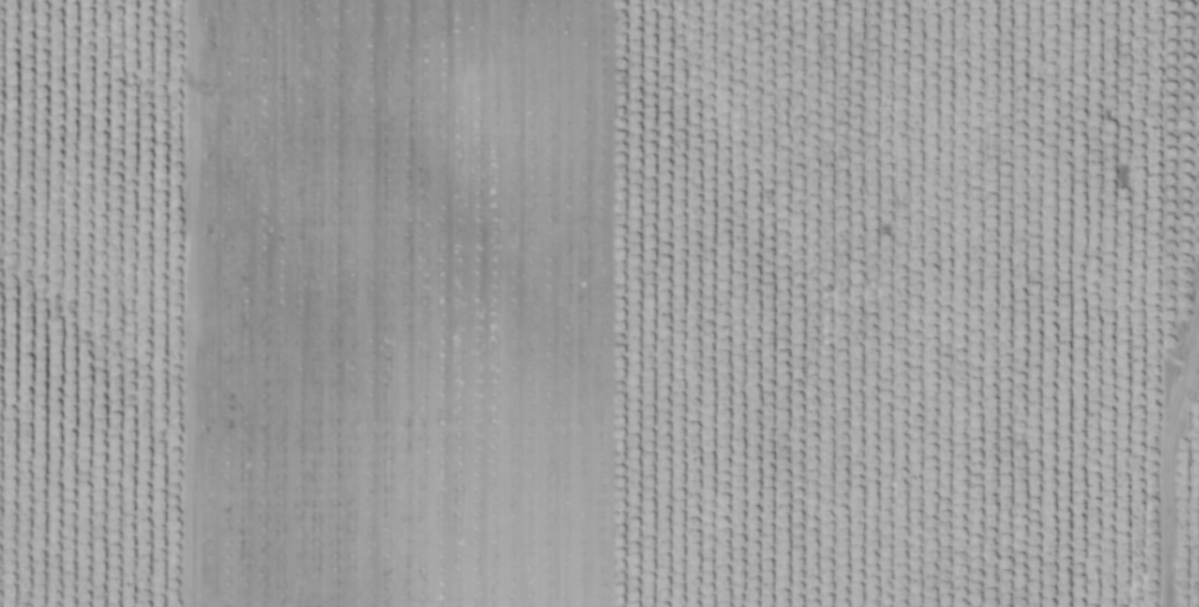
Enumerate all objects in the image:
road: (958, 345)
road: (1174, 511)

